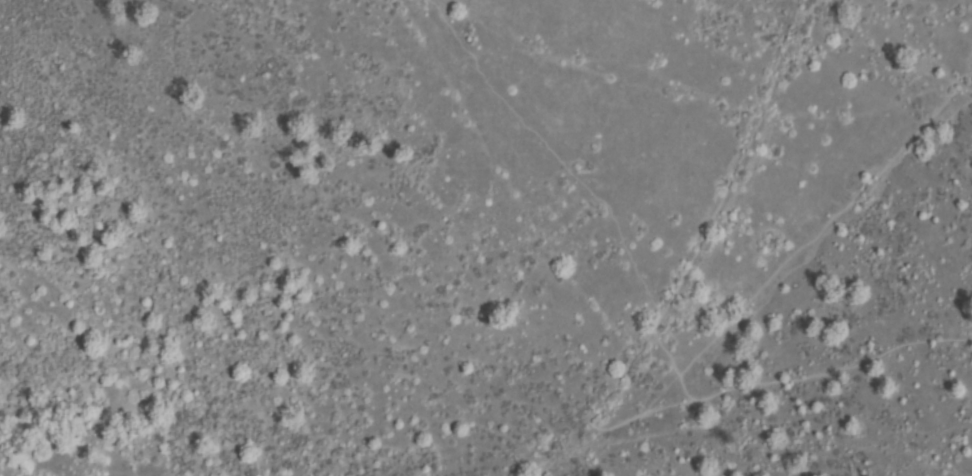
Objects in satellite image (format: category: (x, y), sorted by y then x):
road: (609, 395)

